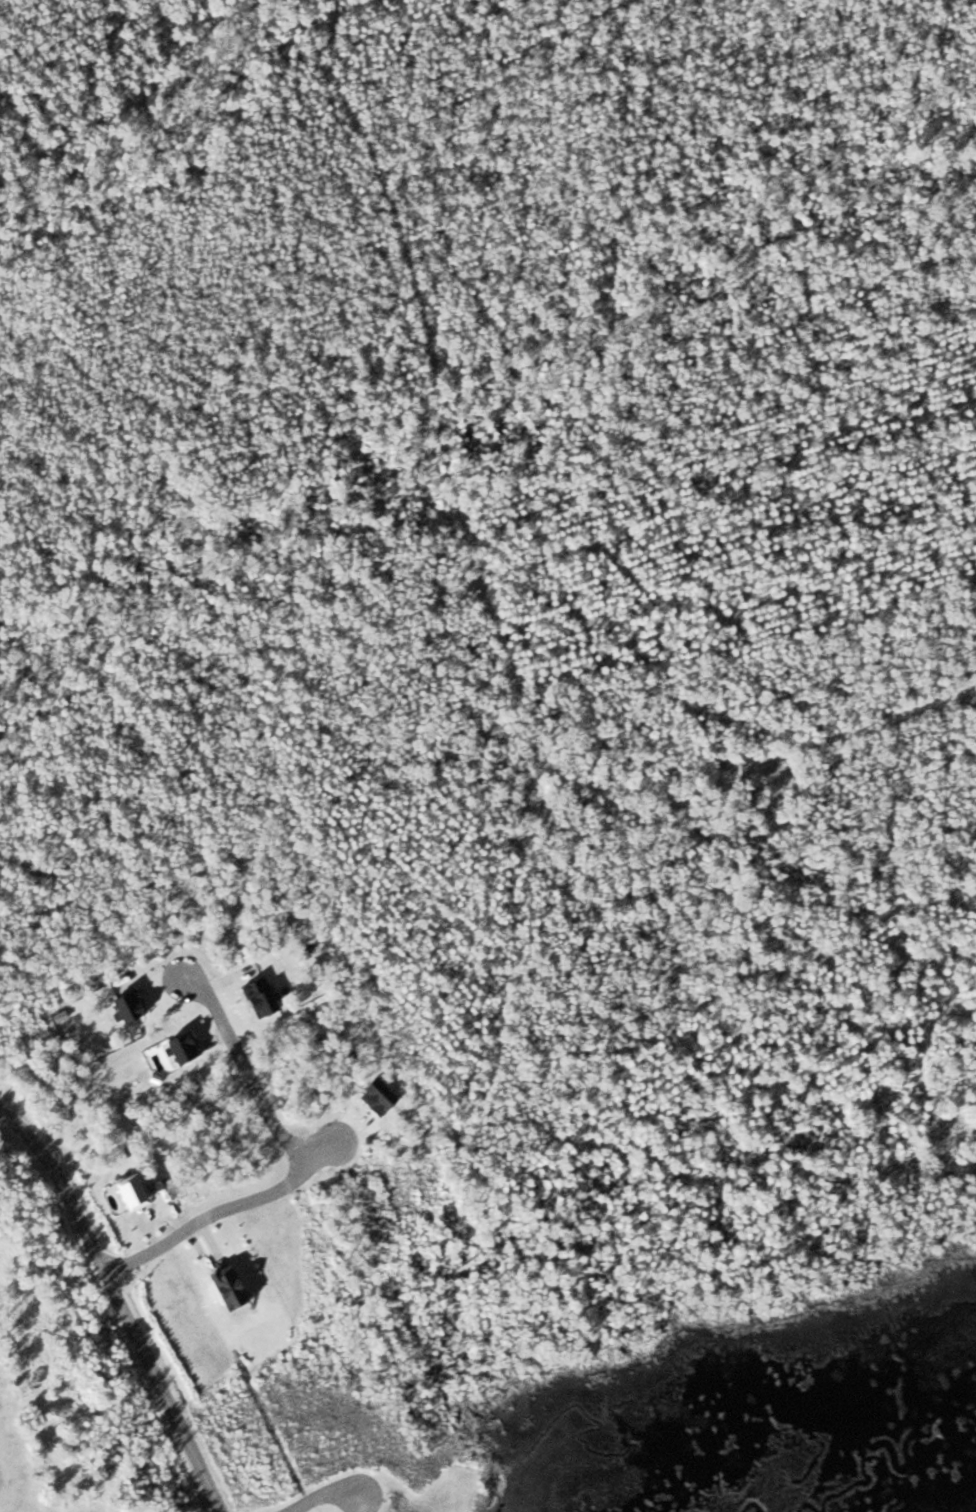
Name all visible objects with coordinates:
road: (247, 1076)
building: (120, 1192)
road: (222, 1210)
road: (124, 1303)
road: (317, 1496)

